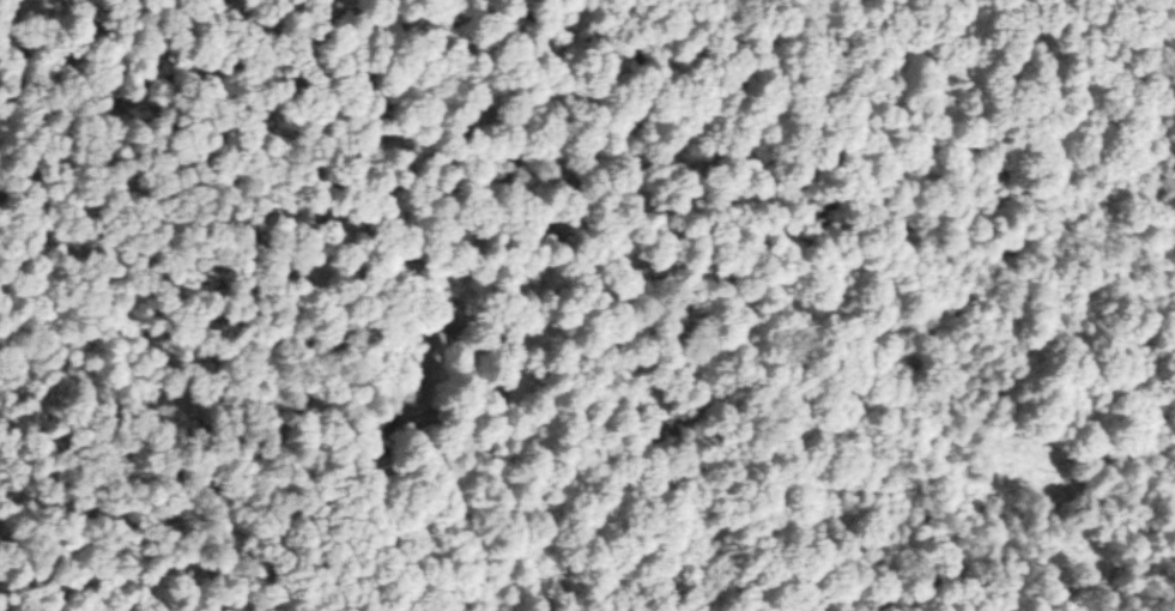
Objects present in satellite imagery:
road: (993, 228)
road: (721, 362)

